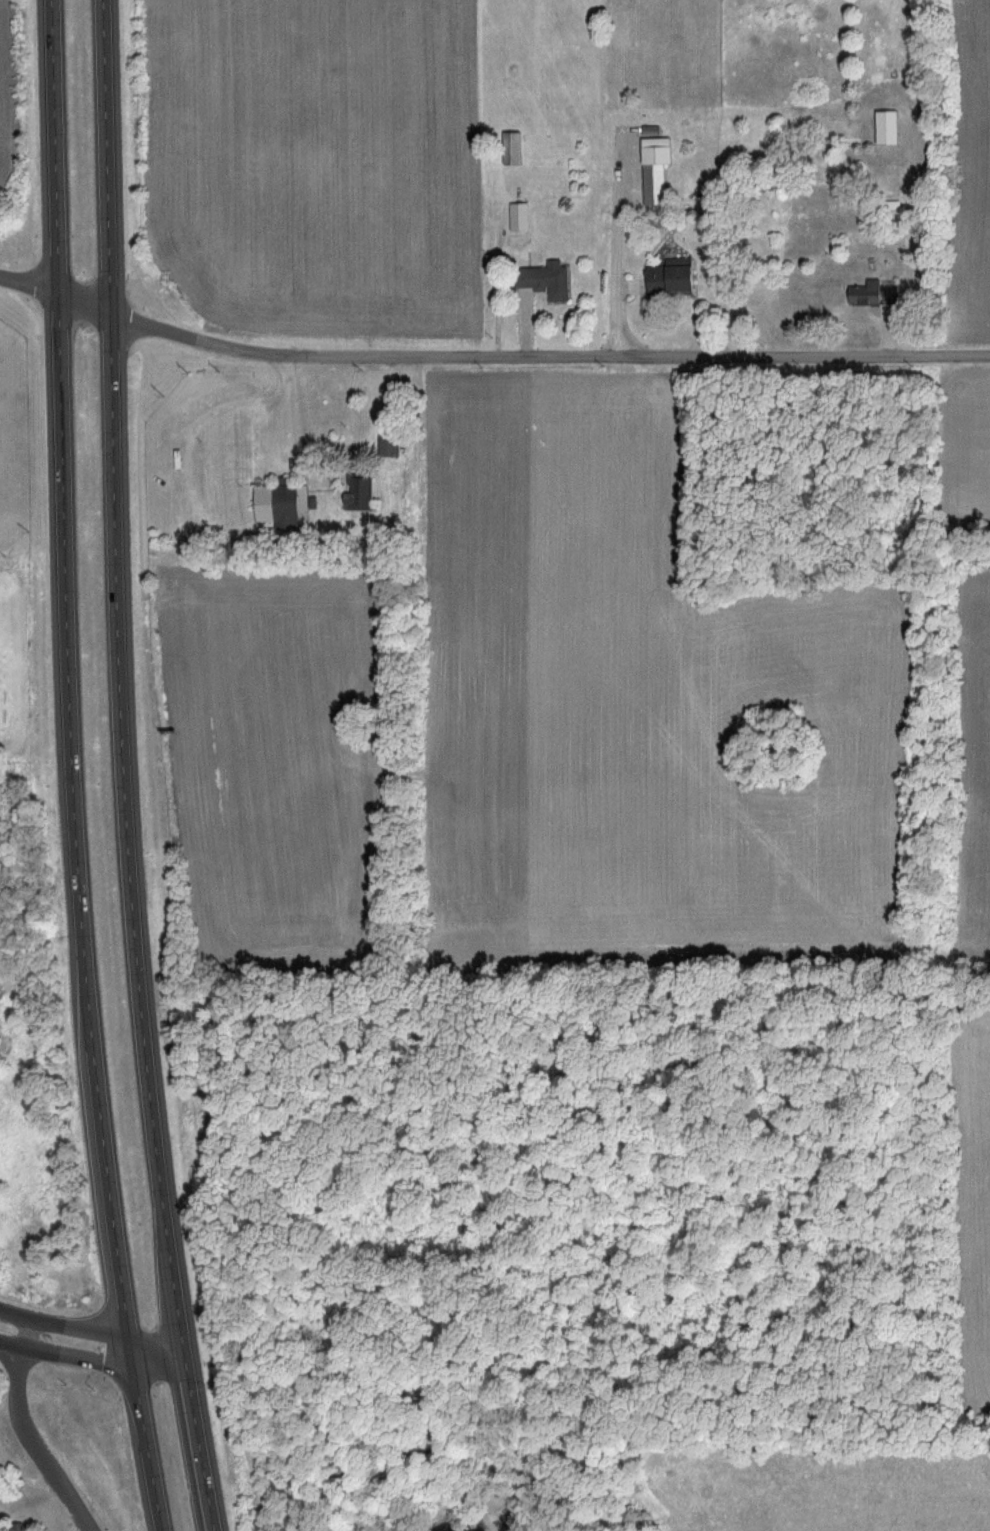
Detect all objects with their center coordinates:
building: (885, 127)
building: (516, 148)
building: (656, 169)
building: (521, 217)
building: (676, 277)
building: (547, 281)
building: (860, 295)
road: (489, 358)
building: (391, 445)
building: (283, 504)
road: (70, 768)
road: (122, 768)
road: (91, 1333)
road: (90, 1361)
road: (22, 1376)
road: (61, 1480)

